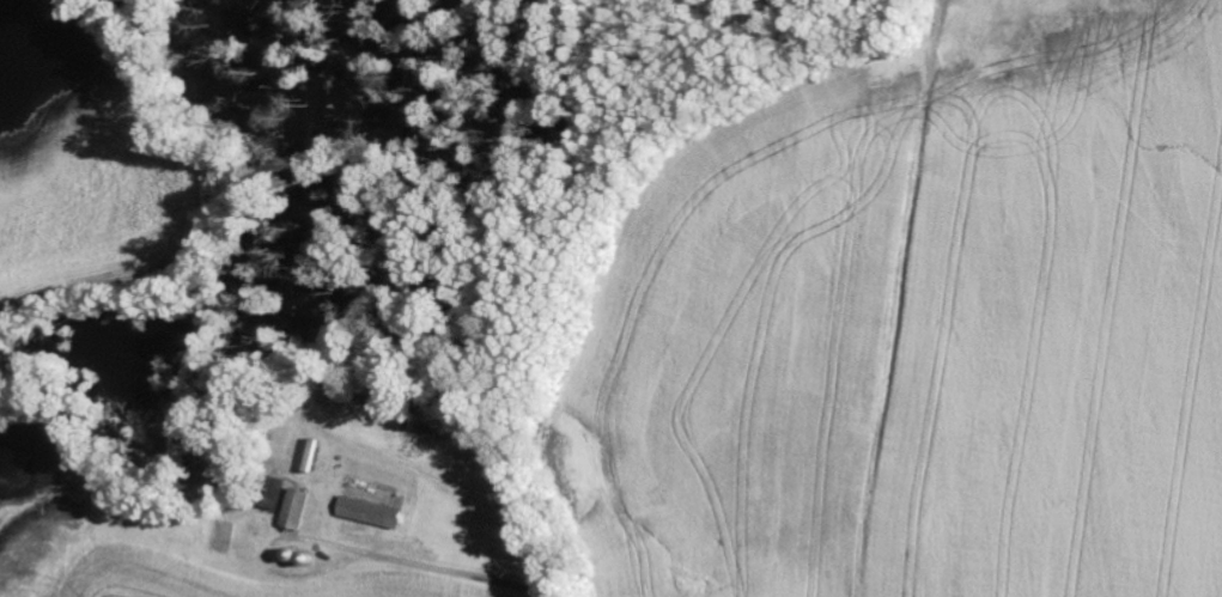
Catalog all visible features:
road: (914, 298)
building: (296, 512)

